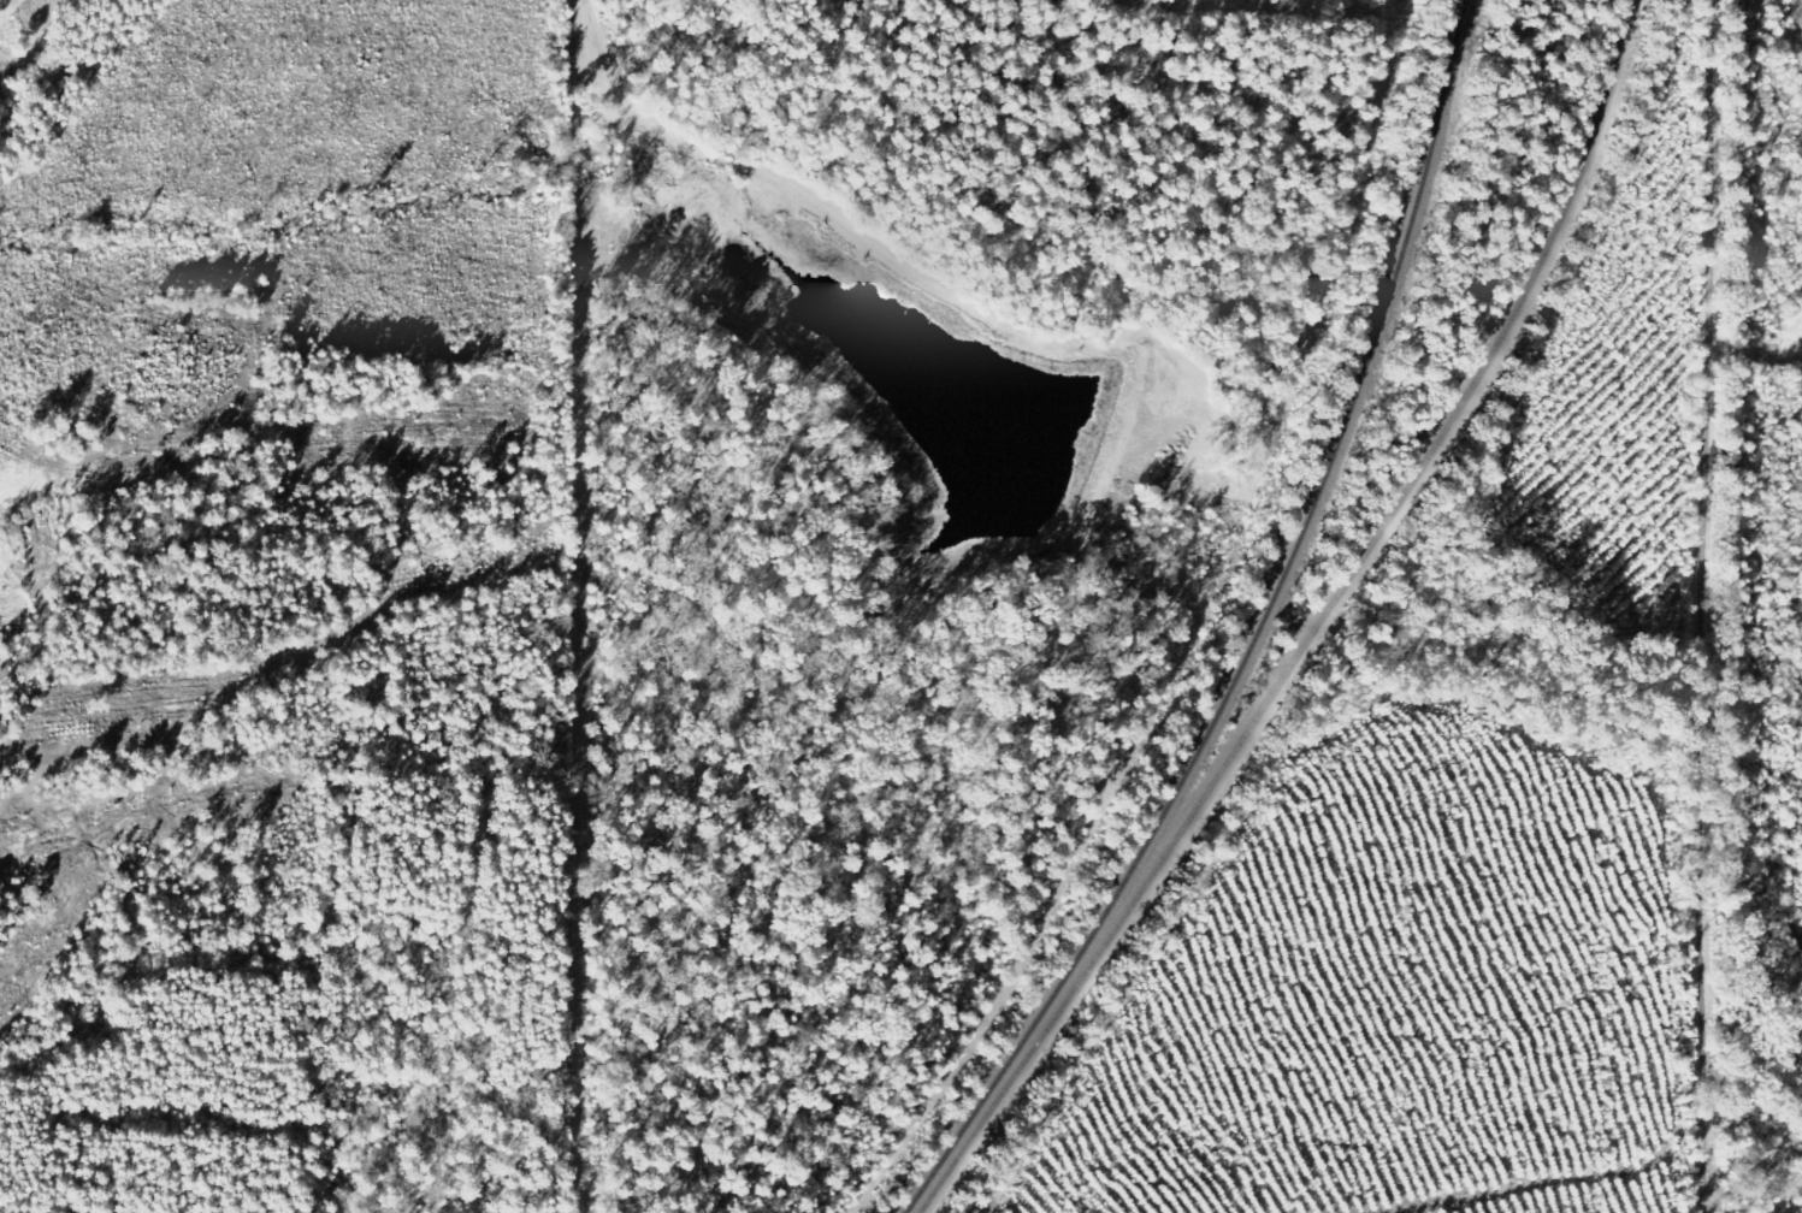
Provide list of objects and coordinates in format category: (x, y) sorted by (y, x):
building: (1, 1)
road: (1691, 606)
railway: (1322, 625)
railway: (1258, 635)

